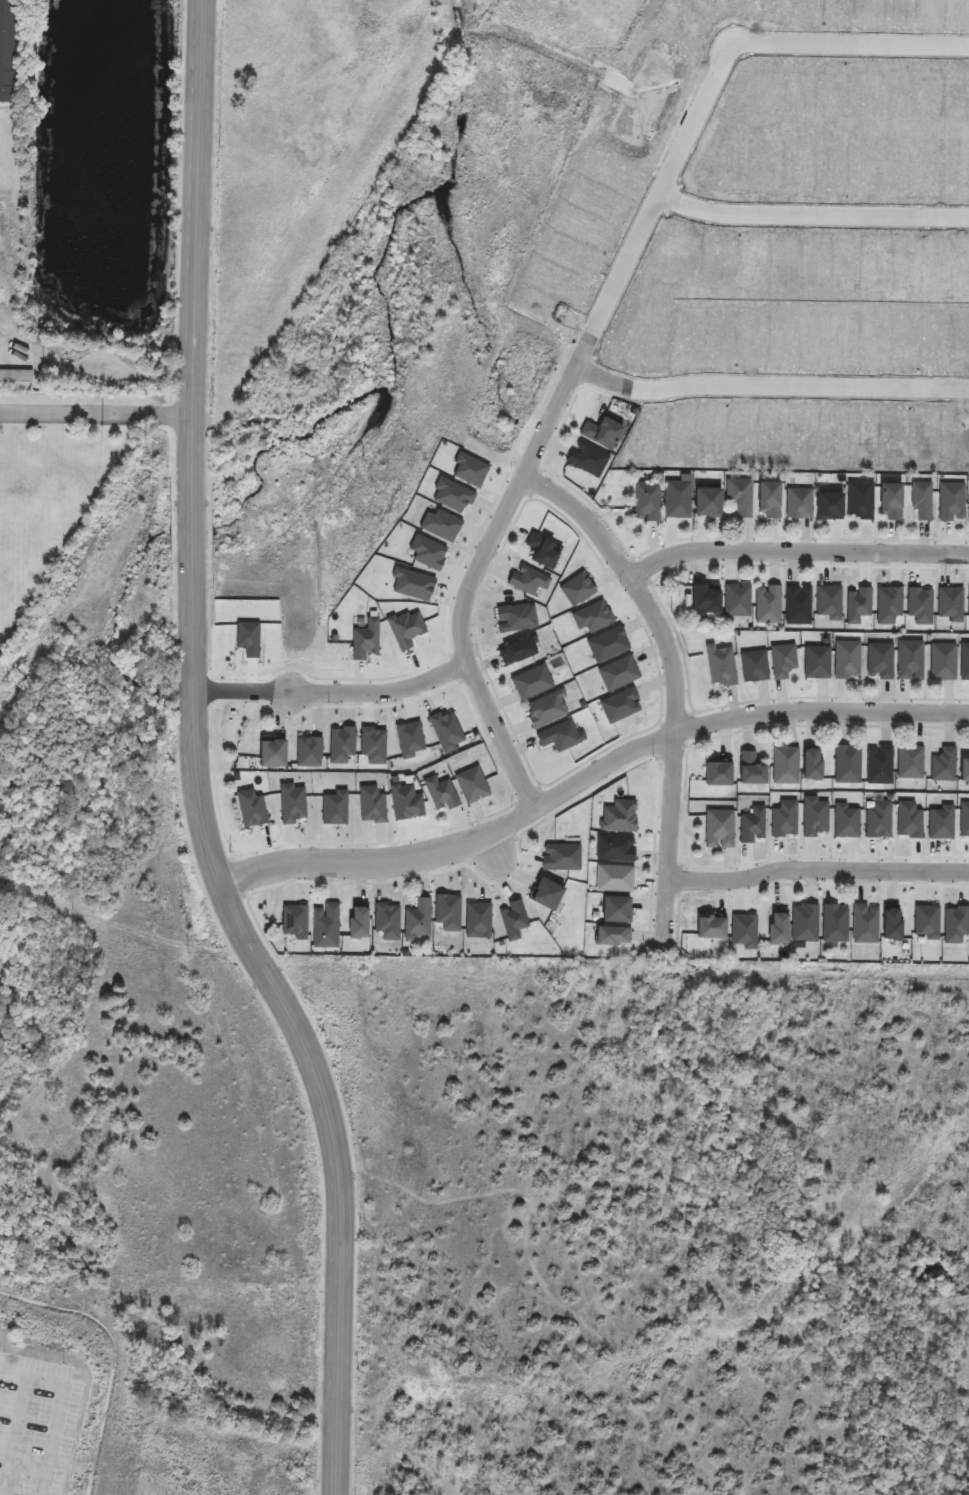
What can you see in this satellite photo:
road: (852, 49)
building: (4, 51)
road: (698, 148)
road: (673, 198)
road: (659, 208)
road: (815, 218)
road: (632, 285)
building: (754, 333)
building: (650, 334)
building: (786, 334)
building: (725, 335)
building: (691, 336)
building: (846, 337)
building: (876, 337)
building: (815, 338)
building: (907, 339)
building: (937, 339)
building: (962, 339)
railway: (233, 357)
road: (591, 370)
road: (780, 372)
building: (16, 379)
road: (770, 383)
road: (775, 399)
road: (99, 415)
road: (561, 425)
building: (714, 431)
building: (743, 431)
building: (865, 433)
building: (957, 434)
building: (775, 436)
building: (835, 436)
building: (602, 437)
building: (684, 437)
building: (897, 437)
building: (804, 439)
building: (925, 441)
building: (654, 443)
building: (587, 463)
building: (469, 472)
road: (536, 486)
building: (452, 495)
building: (740, 496)
building: (768, 498)
building: (678, 499)
building: (923, 499)
building: (860, 500)
building: (648, 501)
building: (951, 501)
building: (891, 502)
building: (800, 503)
building: (709, 504)
building: (830, 507)
road: (593, 509)
building: (440, 525)
road: (797, 539)
road: (796, 552)
building: (427, 553)
building: (543, 554)
road: (641, 572)
road: (472, 584)
building: (526, 584)
building: (413, 585)
building: (577, 590)
building: (738, 602)
building: (829, 603)
building: (707, 604)
building: (951, 604)
building: (968, 604)
building: (769, 606)
building: (859, 606)
building: (888, 606)
building: (920, 606)
building: (799, 607)
building: (592, 619)
building: (516, 621)
road: (671, 624)
building: (405, 632)
building: (248, 641)
building: (365, 641)
building: (607, 644)
building: (516, 654)
building: (784, 660)
building: (910, 660)
building: (848, 661)
building: (881, 661)
road: (432, 662)
building: (945, 663)
building: (966, 663)
building: (818, 664)
road: (453, 668)
building: (722, 668)
building: (756, 668)
building: (616, 674)
road: (676, 679)
building: (530, 686)
road: (335, 693)
building: (618, 706)
building: (545, 712)
building: (446, 732)
building: (410, 738)
building: (559, 739)
building: (372, 744)
building: (342, 746)
road: (687, 749)
building: (309, 753)
building: (272, 758)
road: (493, 758)
road: (197, 761)
building: (912, 764)
building: (946, 766)
building: (849, 767)
building: (882, 767)
building: (787, 768)
road: (530, 771)
building: (814, 771)
building: (965, 772)
building: (753, 773)
road: (589, 777)
building: (721, 779)
building: (471, 789)
road: (525, 792)
building: (439, 796)
building: (405, 804)
building: (291, 805)
building: (371, 805)
building: (335, 810)
road: (682, 810)
building: (250, 812)
building: (618, 813)
building: (816, 816)
road: (222, 817)
building: (786, 819)
building: (909, 820)
building: (848, 821)
building: (880, 821)
building: (964, 821)
building: (941, 823)
building: (753, 826)
road: (527, 828)
building: (723, 830)
building: (613, 847)
building: (560, 862)
road: (818, 870)
road: (239, 878)
building: (613, 878)
road: (681, 881)
road: (799, 884)
building: (546, 900)
building: (614, 910)
building: (448, 912)
building: (293, 921)
building: (477, 921)
building: (512, 921)
building: (387, 922)
building: (806, 922)
building: (865, 922)
building: (926, 922)
building: (417, 923)
building: (835, 923)
building: (955, 926)
building: (893, 927)
building: (745, 928)
building: (324, 929)
building: (357, 929)
building: (712, 931)
building: (779, 931)
road: (265, 933)
building: (611, 938)
road: (57, 1409)
parking lot: (36, 1422)
road: (15, 1437)

